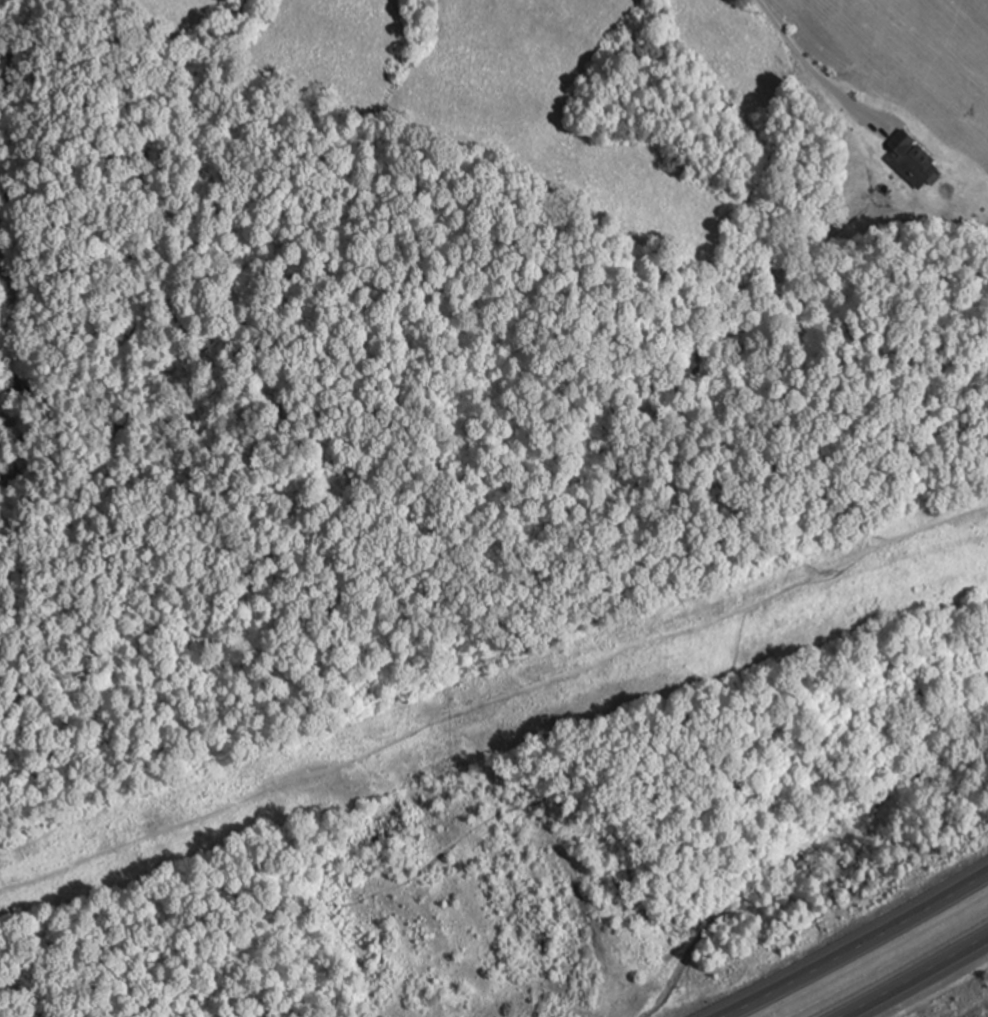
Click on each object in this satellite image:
building: (916, 159)
road: (853, 945)
road: (919, 979)

